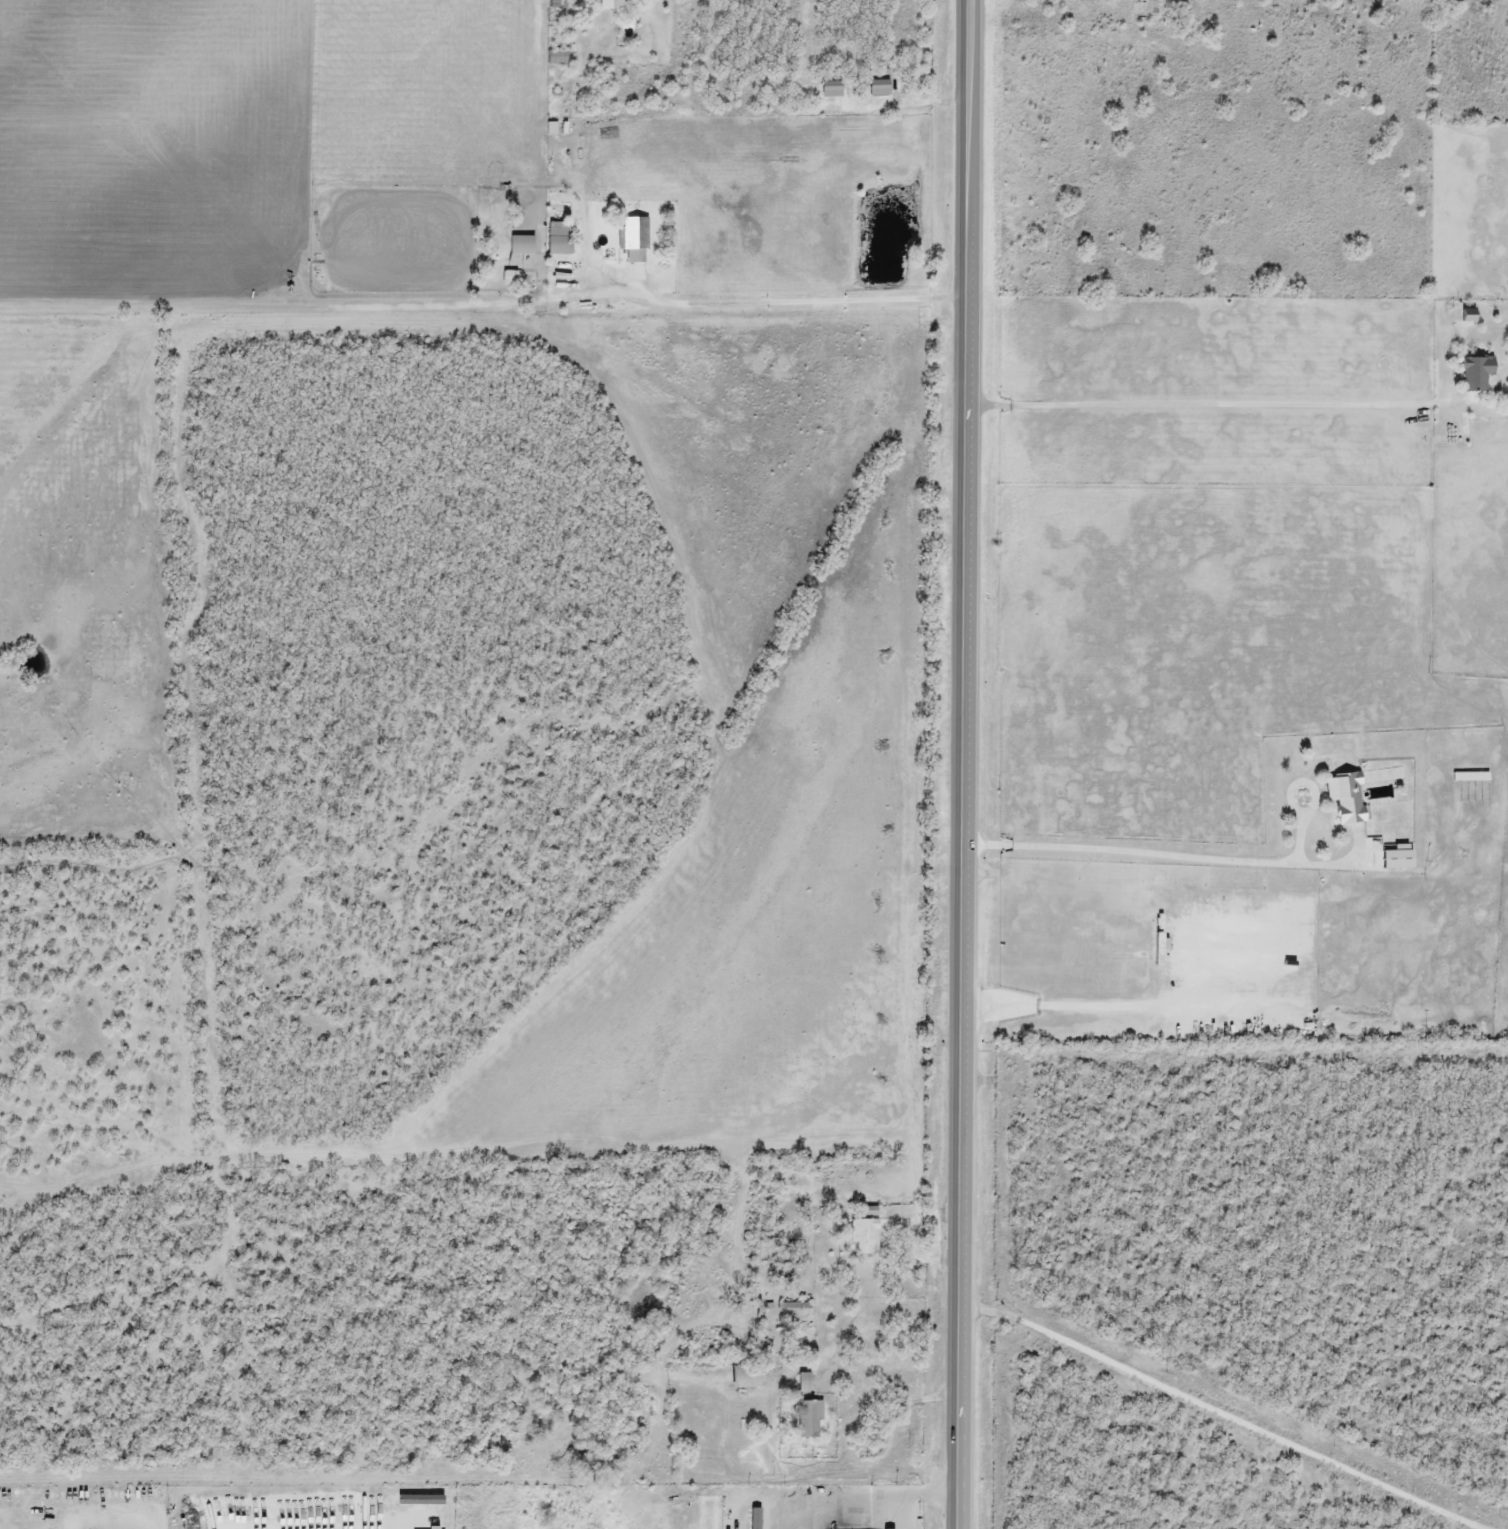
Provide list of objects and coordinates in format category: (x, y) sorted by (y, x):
building: (556, 4)
building: (608, 5)
building: (557, 240)
building: (632, 240)
building: (520, 246)
building: (507, 280)
road: (789, 306)
building: (1474, 375)
road: (1200, 405)
road: (970, 764)
building: (1344, 798)
road: (1183, 857)
road: (1074, 1001)
building: (865, 1238)
road: (836, 1343)
building: (753, 1378)
building: (802, 1383)
road: (1217, 1413)
building: (808, 1420)
road: (934, 1496)
road: (847, 1500)
road: (905, 1512)
road: (114, 1527)

